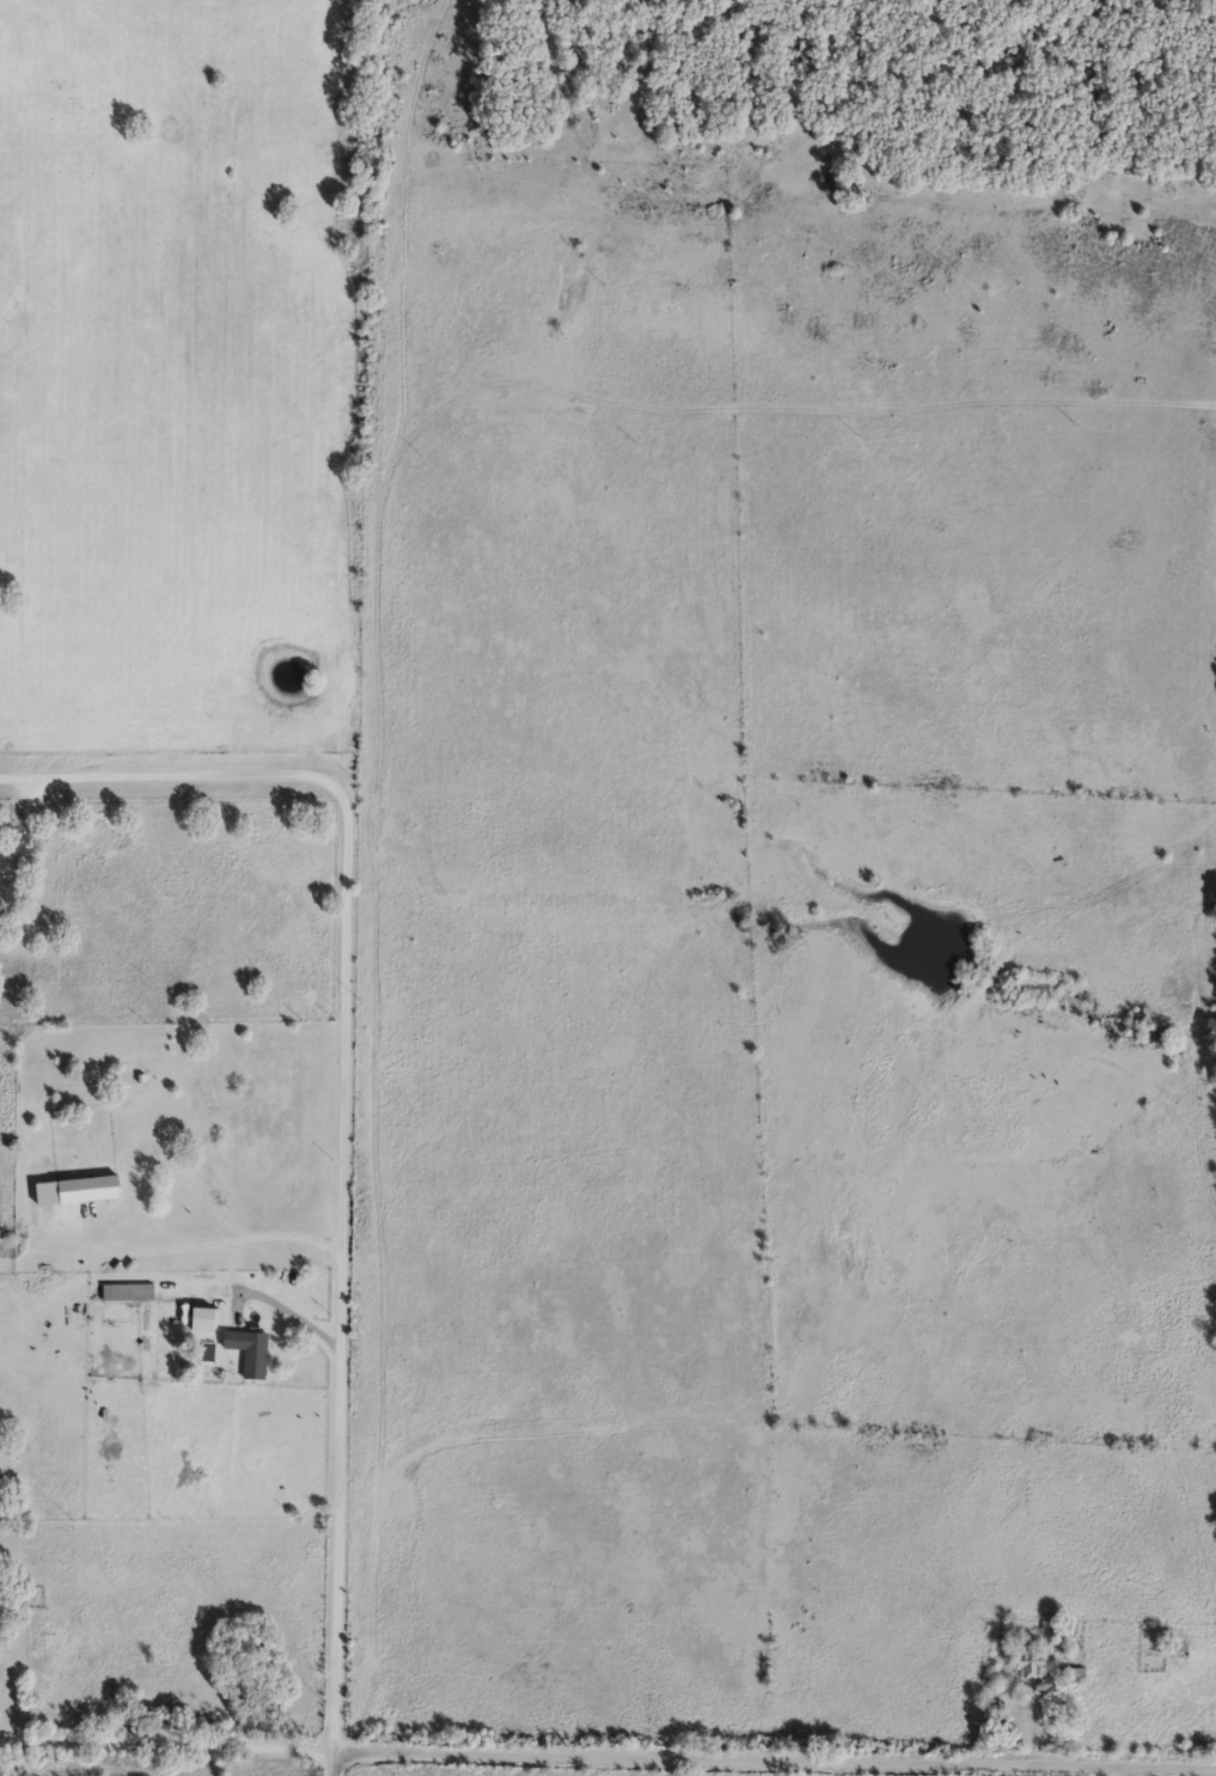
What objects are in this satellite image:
road: (344, 1099)
building: (164, 1135)
building: (129, 1292)
building: (251, 1349)
building: (1174, 1649)
building: (1026, 1658)
building: (1074, 1672)
road: (13, 1741)
road: (179, 1747)
road: (774, 1758)
road: (331, 1764)

